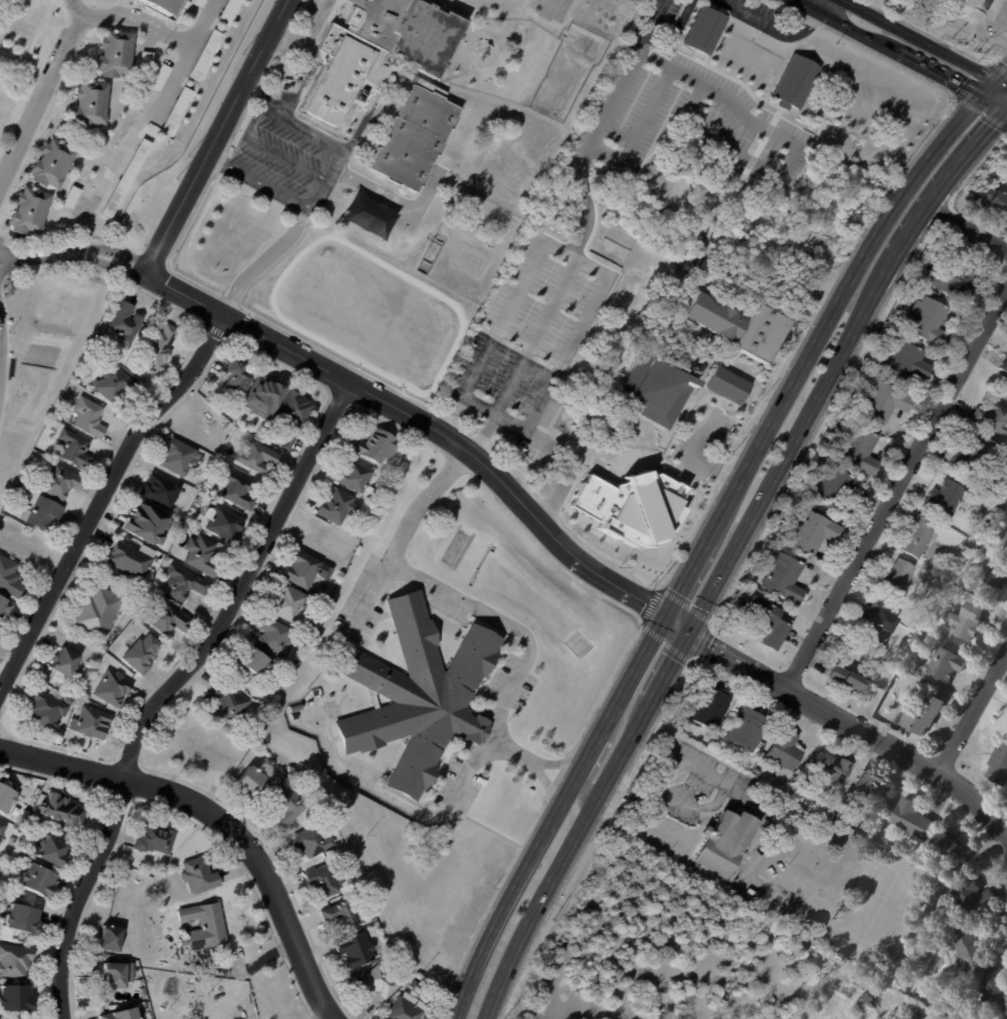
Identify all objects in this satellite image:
building: (198, 2)
building: (160, 5)
road: (551, 5)
road: (815, 5)
parking lot: (310, 7)
building: (972, 7)
parking lot: (551, 8)
building: (227, 9)
parking lot: (756, 15)
road: (138, 21)
road: (769, 26)
building: (701, 30)
road: (309, 33)
road: (919, 39)
road: (889, 47)
building: (375, 52)
building: (115, 54)
building: (203, 54)
building: (146, 57)
building: (159, 76)
road: (997, 78)
building: (794, 82)
traffic signals: (987, 88)
road: (45, 93)
road: (997, 93)
road: (734, 102)
building: (91, 104)
building: (175, 108)
road: (153, 111)
parking lot: (682, 112)
road: (638, 130)
road: (217, 134)
building: (412, 137)
road: (323, 141)
road: (722, 144)
building: (99, 149)
road: (272, 149)
parking lot: (277, 160)
building: (51, 164)
building: (126, 174)
road: (947, 180)
road: (259, 183)
building: (69, 196)
building: (995, 201)
building: (28, 212)
building: (136, 228)
road: (585, 228)
road: (968, 230)
road: (73, 250)
road: (563, 255)
road: (261, 264)
building: (952, 278)
road: (675, 289)
road: (833, 303)
building: (929, 322)
building: (734, 323)
building: (126, 324)
park: (669, 335)
parking lot: (531, 344)
building: (159, 348)
building: (634, 348)
building: (905, 362)
building: (1002, 365)
building: (238, 377)
building: (116, 384)
building: (727, 384)
building: (654, 390)
building: (261, 396)
building: (64, 401)
building: (884, 402)
building: (293, 416)
building: (91, 417)
building: (992, 418)
building: (55, 428)
road: (792, 441)
building: (989, 441)
parking lot: (702, 442)
building: (376, 446)
building: (77, 449)
building: (858, 451)
road: (568, 455)
building: (965, 455)
building: (179, 457)
building: (258, 457)
road: (693, 459)
building: (358, 477)
building: (26, 478)
road: (446, 478)
building: (972, 480)
building: (60, 482)
building: (20, 487)
building: (835, 489)
building: (162, 490)
building: (238, 490)
building: (1001, 492)
road: (101, 495)
road: (901, 497)
building: (943, 497)
building: (632, 506)
building: (340, 507)
building: (1001, 508)
building: (43, 513)
building: (225, 522)
building: (149, 523)
building: (808, 532)
building: (915, 537)
building: (1004, 548)
building: (204, 555)
road: (571, 555)
building: (130, 559)
building: (307, 569)
road: (685, 575)
building: (997, 576)
building: (10, 577)
building: (782, 577)
building: (895, 579)
building: (186, 583)
road: (369, 597)
building: (289, 603)
building: (5, 607)
building: (99, 612)
traffic signals: (664, 615)
road: (491, 618)
building: (167, 619)
building: (764, 621)
building: (967, 622)
traffic signals: (690, 628)
building: (876, 629)
building: (276, 637)
building: (105, 645)
building: (844, 652)
building: (143, 655)
building: (69, 662)
building: (254, 664)
road: (669, 666)
building: (945, 666)
building: (845, 680)
road: (168, 687)
building: (114, 691)
building: (420, 696)
building: (70, 701)
building: (227, 706)
building: (298, 707)
building: (707, 707)
building: (48, 711)
road: (975, 712)
building: (922, 716)
building: (93, 723)
building: (747, 729)
building: (783, 749)
building: (741, 750)
road: (553, 763)
building: (830, 766)
building: (999, 767)
road: (582, 772)
road: (545, 776)
building: (251, 784)
building: (868, 785)
building: (6, 798)
road: (403, 804)
building: (288, 807)
building: (61, 809)
road: (552, 814)
building: (26, 815)
road: (219, 818)
building: (912, 820)
building: (3, 826)
building: (156, 838)
building: (723, 841)
building: (312, 842)
building: (948, 843)
building: (55, 848)
building: (127, 857)
road: (563, 859)
building: (955, 873)
building: (200, 875)
building: (38, 880)
building: (329, 881)
building: (23, 893)
building: (969, 896)
building: (344, 916)
building: (372, 916)
building: (22, 917)
building: (204, 925)
building: (797, 929)
building: (805, 933)
building: (111, 938)
building: (358, 950)
building: (971, 953)
building: (15, 960)
building: (822, 973)
building: (118, 974)
building: (411, 976)
building: (142, 981)
building: (380, 983)
building: (994, 992)
building: (145, 994)
building: (15, 997)
building: (864, 1000)
building: (408, 1008)
building: (786, 1013)
building: (125, 1014)

